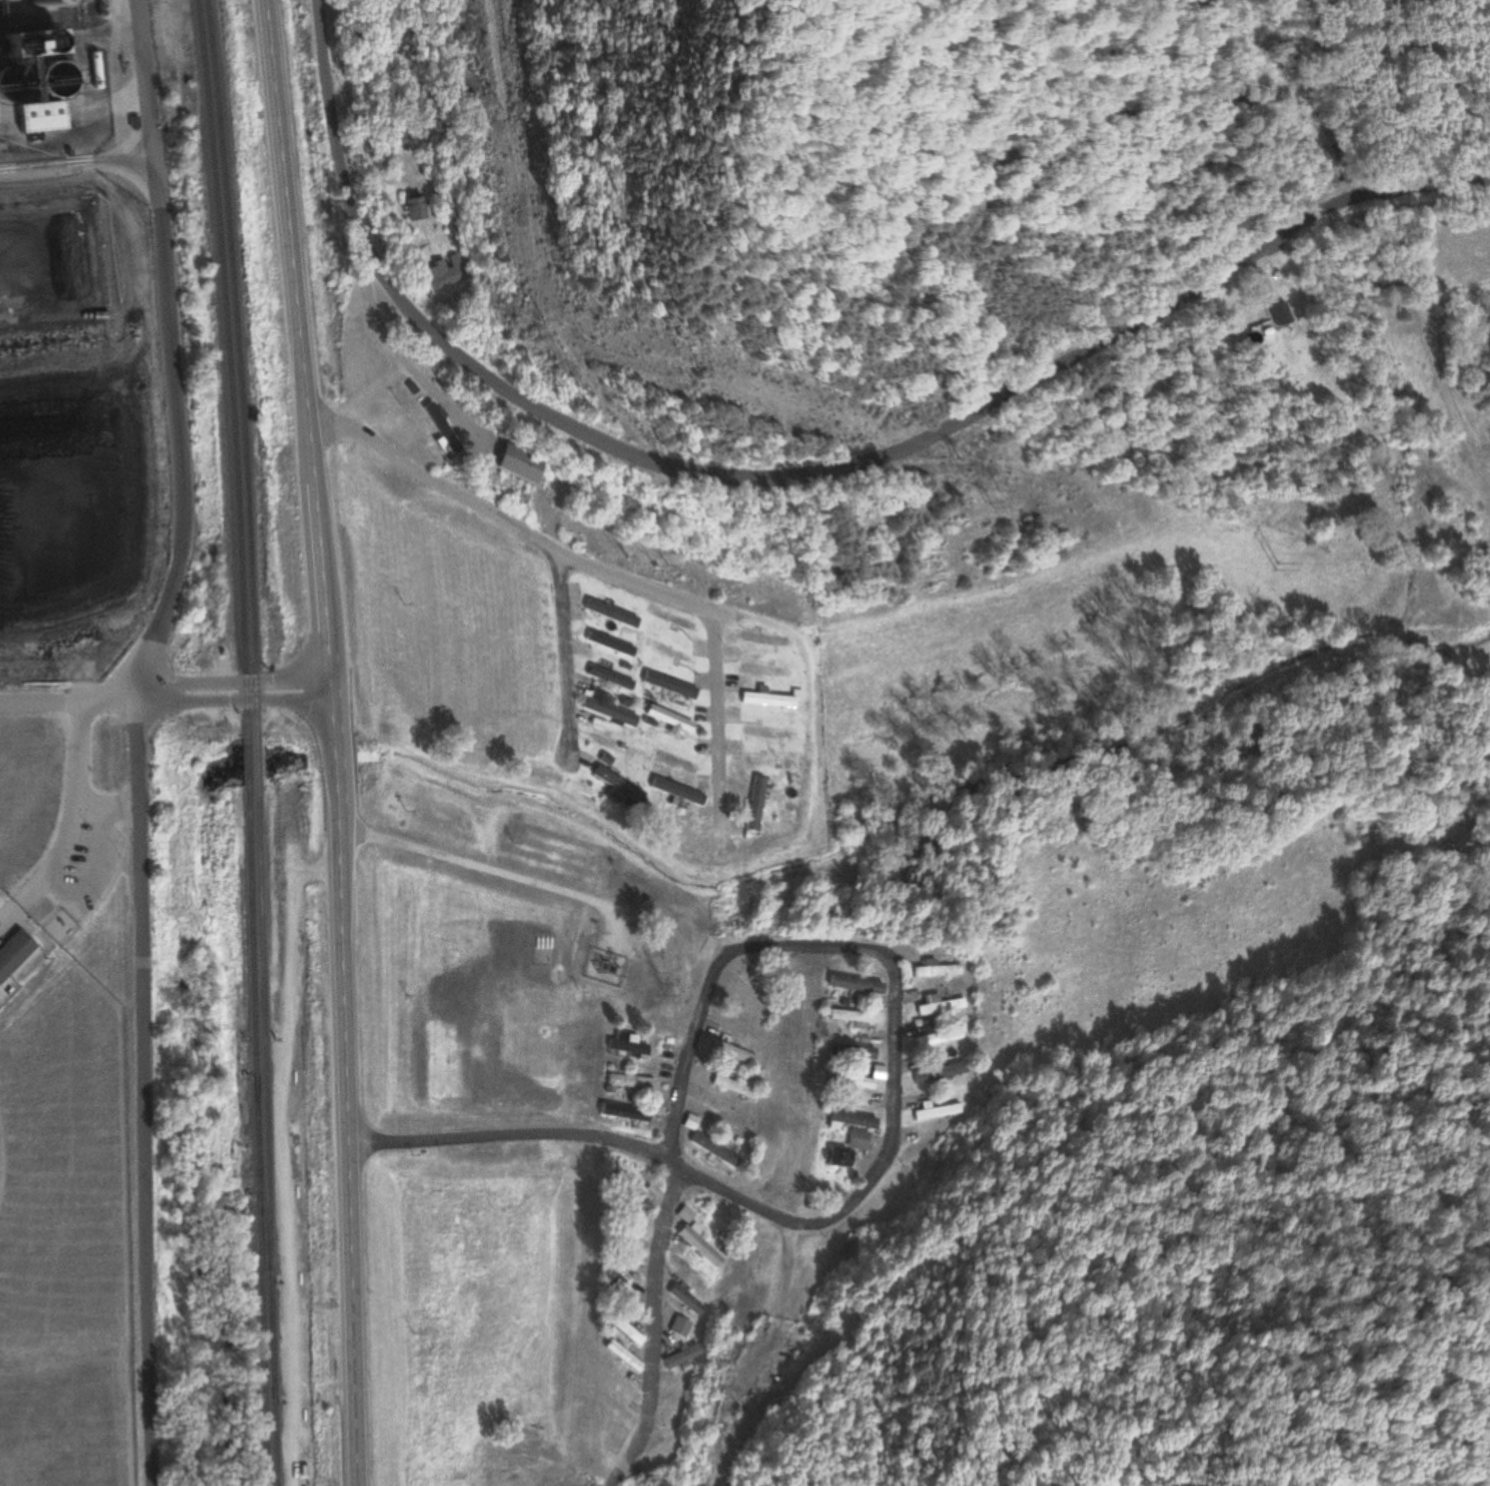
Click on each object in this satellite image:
power plant: (74, 343)
road: (390, 347)
railway: (229, 368)
railway: (238, 368)
power tower: (952, 463)
road: (796, 477)
power tower: (986, 507)
power tower: (1274, 567)
road: (610, 575)
road: (566, 665)
road: (229, 683)
road: (232, 700)
road: (66, 703)
road: (134, 738)
road: (331, 741)
railway: (246, 762)
railway: (257, 762)
road: (475, 860)
power substation: (603, 969)
power tower: (660, 984)
road: (679, 1082)
railway: (266, 1136)
railway: (256, 1137)
road: (831, 1219)
road: (654, 1331)
road: (822, 1347)

